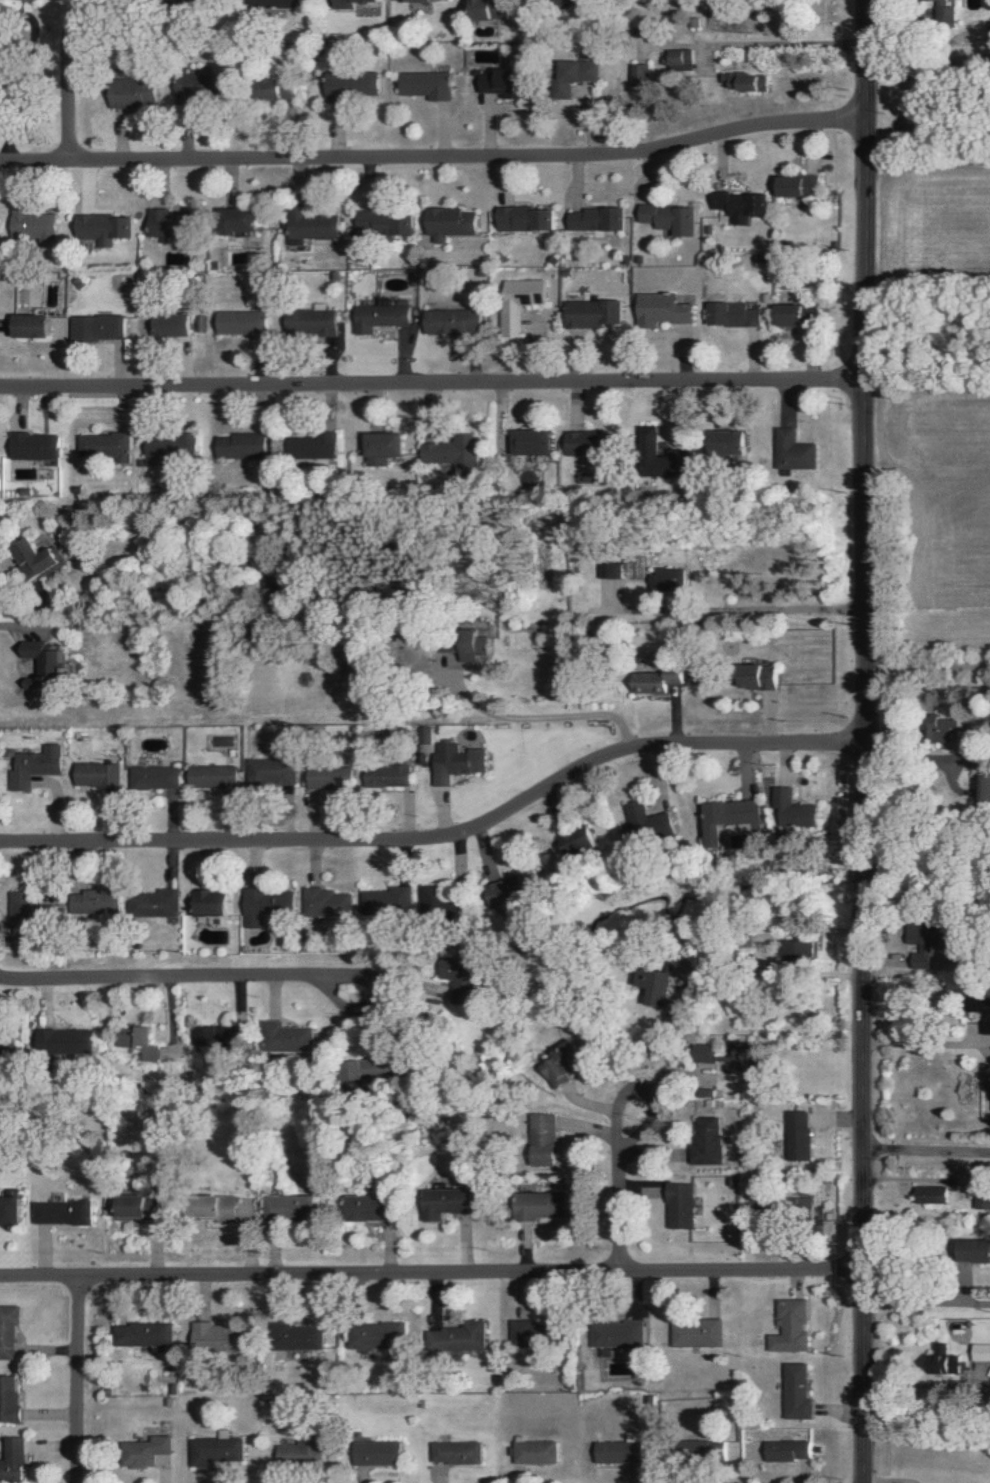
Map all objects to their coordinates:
building: (424, 0)
building: (286, 3)
building: (354, 3)
building: (488, 9)
building: (942, 11)
building: (678, 59)
building: (581, 71)
building: (640, 76)
road: (69, 78)
building: (353, 81)
building: (747, 81)
building: (503, 82)
building: (429, 84)
building: (197, 89)
building: (565, 91)
building: (134, 93)
road: (435, 159)
building: (801, 186)
building: (742, 204)
building: (527, 218)
building: (671, 218)
building: (598, 219)
building: (242, 220)
building: (388, 221)
building: (175, 222)
building: (454, 222)
building: (34, 223)
building: (315, 226)
building: (105, 228)
building: (523, 302)
building: (665, 310)
building: (597, 313)
building: (736, 314)
building: (800, 314)
building: (385, 315)
building: (457, 321)
building: (314, 322)
building: (244, 323)
building: (177, 325)
building: (36, 326)
building: (101, 327)
road: (433, 385)
building: (670, 431)
building: (649, 435)
building: (535, 442)
building: (731, 442)
building: (596, 443)
building: (37, 446)
building: (107, 446)
building: (243, 446)
building: (314, 446)
building: (386, 447)
building: (173, 448)
building: (795, 451)
building: (457, 454)
building: (675, 460)
building: (39, 560)
building: (610, 570)
building: (670, 580)
road: (735, 611)
road: (35, 624)
building: (476, 648)
building: (48, 663)
road: (927, 665)
building: (762, 676)
building: (660, 680)
road: (532, 729)
road: (865, 741)
building: (456, 762)
building: (40, 764)
building: (271, 772)
building: (98, 774)
building: (389, 775)
building: (214, 776)
building: (156, 777)
building: (331, 777)
building: (987, 789)
building: (795, 808)
road: (927, 813)
building: (731, 816)
building: (644, 824)
road: (443, 839)
building: (582, 840)
building: (517, 889)
building: (434, 896)
building: (97, 901)
building: (391, 901)
building: (214, 902)
building: (329, 902)
building: (155, 903)
building: (270, 906)
building: (30, 909)
building: (803, 949)
building: (924, 956)
road: (178, 978)
building: (462, 978)
building: (656, 983)
building: (987, 1026)
building: (290, 1037)
building: (215, 1038)
building: (6, 1040)
building: (67, 1040)
building: (140, 1042)
road: (925, 1044)
building: (735, 1057)
building: (566, 1065)
building: (373, 1068)
building: (801, 1135)
building: (547, 1139)
building: (711, 1141)
road: (927, 1152)
road: (621, 1169)
building: (935, 1194)
building: (983, 1194)
building: (448, 1202)
building: (143, 1205)
building: (543, 1205)
building: (684, 1205)
building: (217, 1207)
building: (292, 1207)
building: (373, 1207)
building: (11, 1209)
building: (66, 1212)
building: (976, 1249)
road: (432, 1275)
road: (928, 1300)
building: (793, 1326)
building: (9, 1330)
building: (700, 1333)
building: (146, 1334)
building: (532, 1334)
building: (620, 1334)
building: (379, 1335)
building: (222, 1336)
building: (300, 1336)
building: (460, 1337)
building: (981, 1352)
building: (946, 1360)
road: (75, 1381)
road: (922, 1384)
building: (798, 1392)
building: (10, 1400)
building: (710, 1448)
building: (154, 1450)
building: (219, 1450)
building: (789, 1450)
building: (306, 1452)
building: (460, 1452)
building: (539, 1452)
building: (622, 1452)
building: (381, 1453)
building: (15, 1461)

